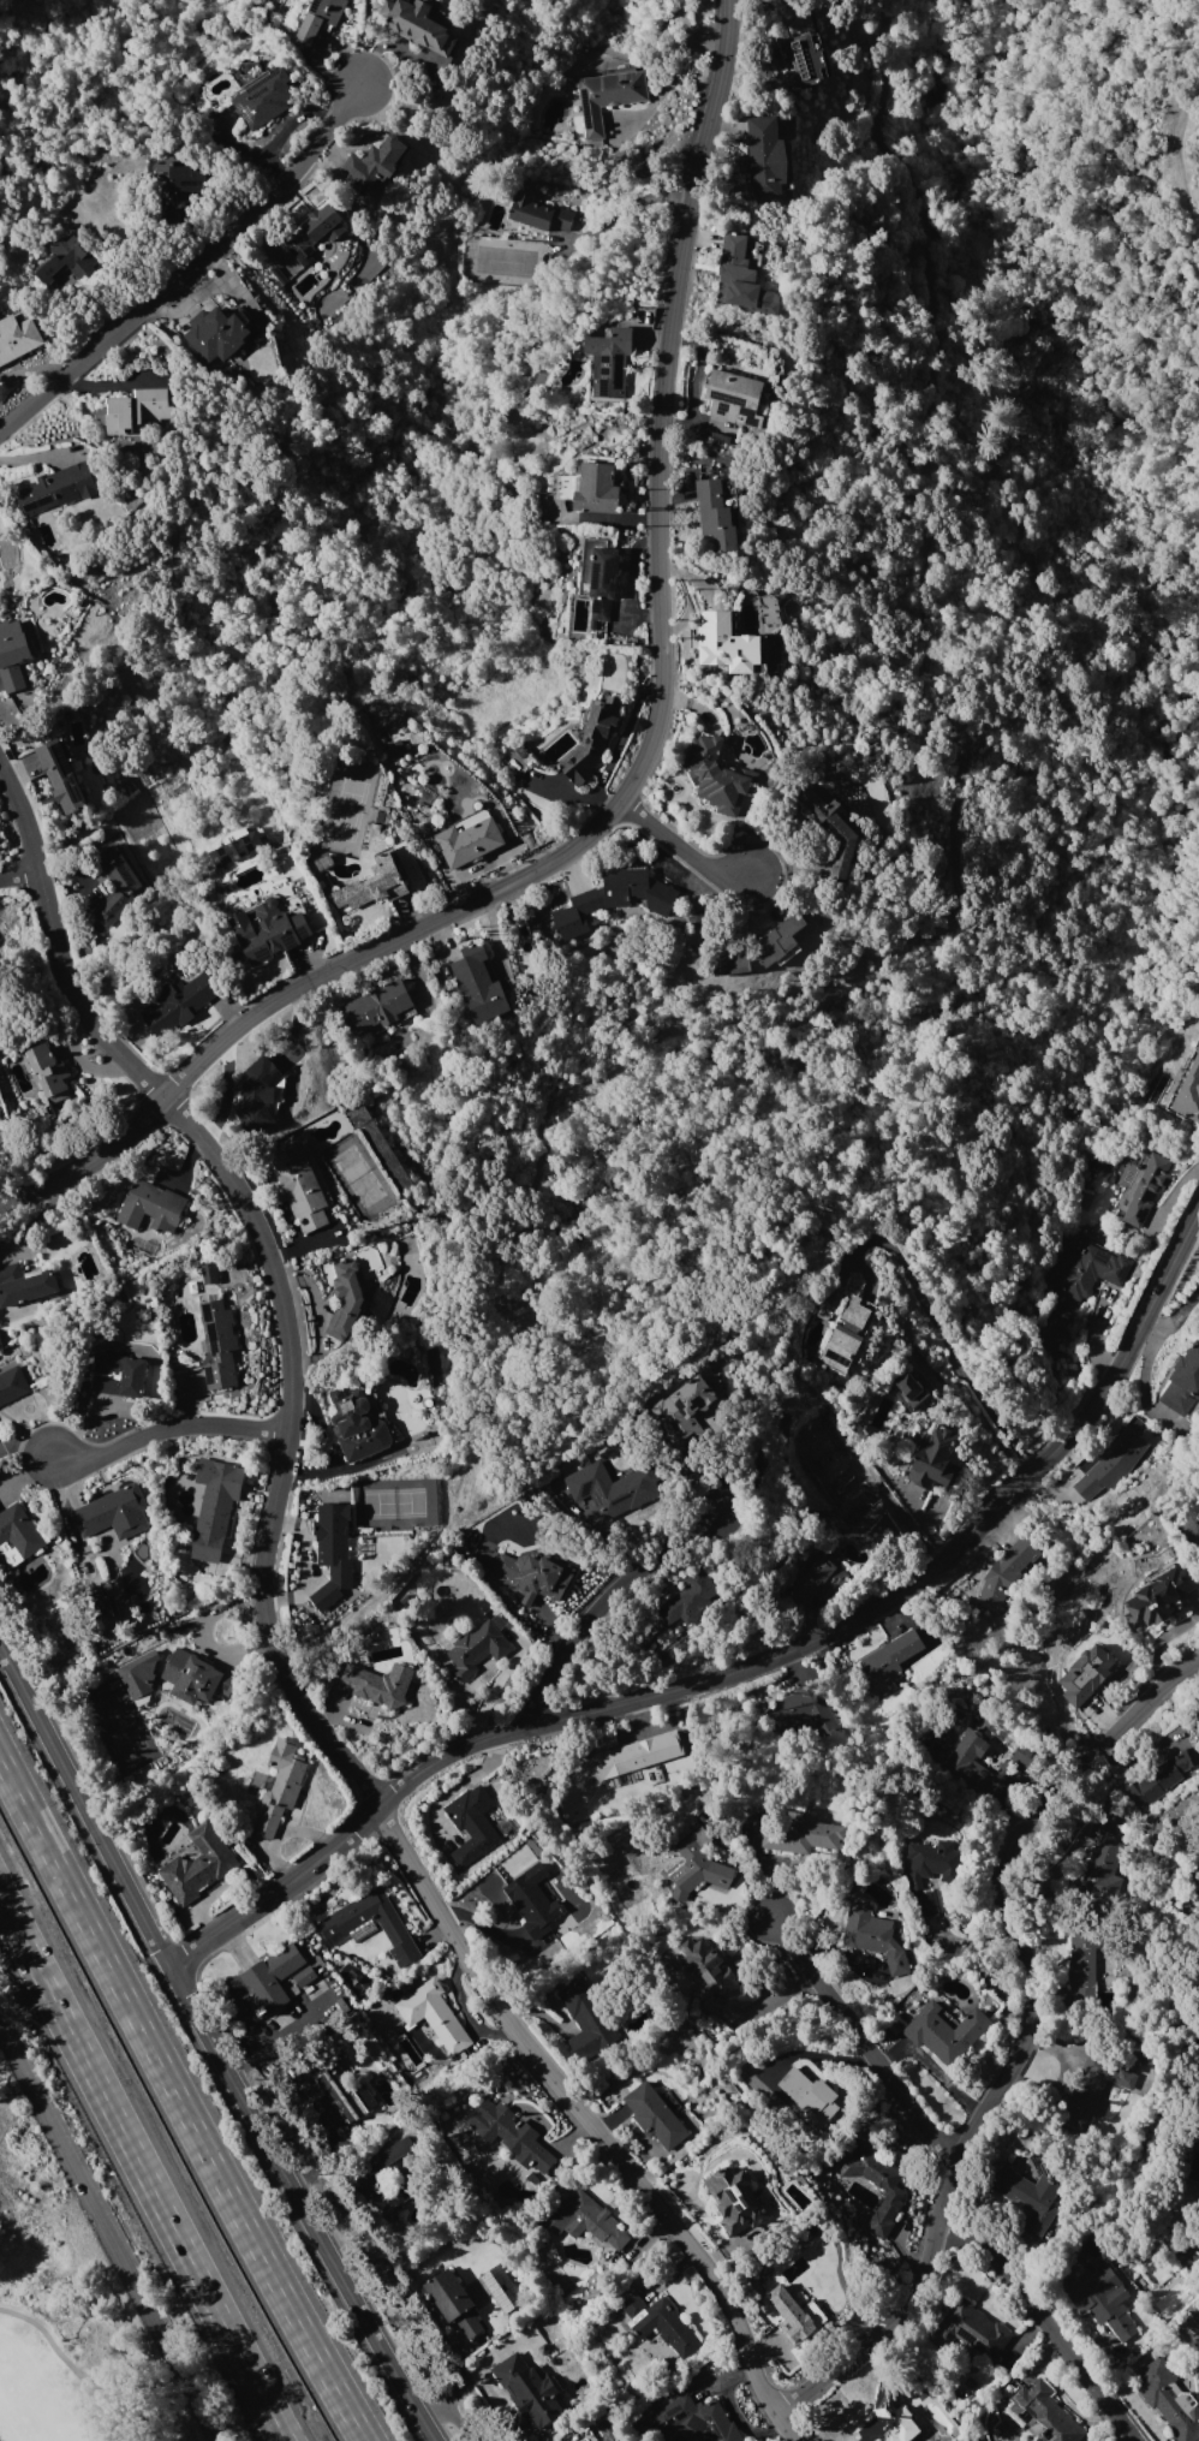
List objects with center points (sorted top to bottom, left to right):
building: (321, 18)
building: (418, 23)
building: (803, 59)
road: (676, 65)
building: (609, 96)
building: (264, 97)
building: (765, 156)
building: (374, 161)
building: (183, 183)
road: (628, 206)
building: (539, 213)
building: (315, 231)
building: (66, 260)
road: (191, 269)
building: (744, 274)
building: (219, 334)
building: (18, 335)
building: (610, 359)
building: (735, 398)
building: (136, 409)
building: (59, 488)
building: (598, 488)
building: (728, 489)
building: (716, 514)
building: (599, 574)
building: (724, 641)
building: (13, 654)
building: (593, 738)
road: (637, 772)
building: (61, 775)
building: (718, 775)
building: (835, 829)
building: (469, 841)
building: (235, 844)
road: (684, 845)
road: (18, 874)
building: (117, 883)
building: (375, 883)
building: (639, 889)
building: (269, 929)
building: (762, 947)
building: (479, 983)
building: (180, 1001)
building: (380, 1006)
building: (47, 1070)
building: (258, 1090)
building: (1189, 1093)
building: (1141, 1185)
building: (300, 1186)
building: (151, 1207)
building: (1092, 1272)
building: (209, 1273)
building: (25, 1284)
building: (346, 1297)
building: (822, 1311)
road: (942, 1333)
building: (848, 1334)
building: (219, 1345)
building: (118, 1375)
building: (1183, 1381)
building: (12, 1383)
building: (909, 1385)
building: (685, 1407)
building: (357, 1425)
road: (174, 1428)
building: (0, 1435)
building: (935, 1458)
building: (1110, 1465)
building: (609, 1490)
building: (215, 1505)
building: (1192, 1507)
building: (115, 1511)
building: (19, 1529)
building: (333, 1552)
building: (1007, 1570)
building: (536, 1574)
building: (816, 1580)
building: (690, 1596)
building: (1162, 1596)
road: (606, 1600)
road: (273, 1638)
building: (477, 1648)
building: (889, 1656)
road: (747, 1666)
building: (138, 1673)
building: (1087, 1673)
building: (197, 1677)
building: (380, 1684)
building: (804, 1710)
building: (637, 1754)
building: (1025, 1754)
building: (974, 1763)
building: (1163, 1775)
building: (281, 1785)
building: (471, 1826)
building: (805, 1835)
building: (1108, 1862)
building: (199, 1863)
building: (698, 1865)
building: (931, 1869)
building: (531, 1899)
building: (395, 1930)
building: (875, 1935)
building: (1081, 1967)
building: (305, 1975)
building: (717, 1977)
building: (267, 1979)
building: (589, 2013)
building: (435, 2014)
building: (894, 2025)
building: (944, 2030)
road: (1024, 2036)
road: (213, 2041)
road: (864, 2041)
building: (1149, 2058)
building: (1097, 2083)
building: (335, 2090)
building: (810, 2097)
road: (180, 2100)
building: (658, 2116)
building: (512, 2133)
building: (394, 2153)
road: (143, 2168)
building: (875, 2180)
building: (401, 2192)
building: (1027, 2196)
building: (740, 2204)
building: (585, 2219)
road: (112, 2228)
building: (502, 2287)
building: (1098, 2290)
building: (454, 2302)
building: (795, 2314)
park: (52, 2316)
power tower: (396, 2317)
road: (1049, 2318)
building: (662, 2323)
building: (971, 2329)
road: (72, 2365)
road: (465, 2380)
building: (530, 2388)
building: (1169, 2397)
building: (1046, 2412)
building: (890, 2417)
building: (694, 2421)
road: (449, 2422)

